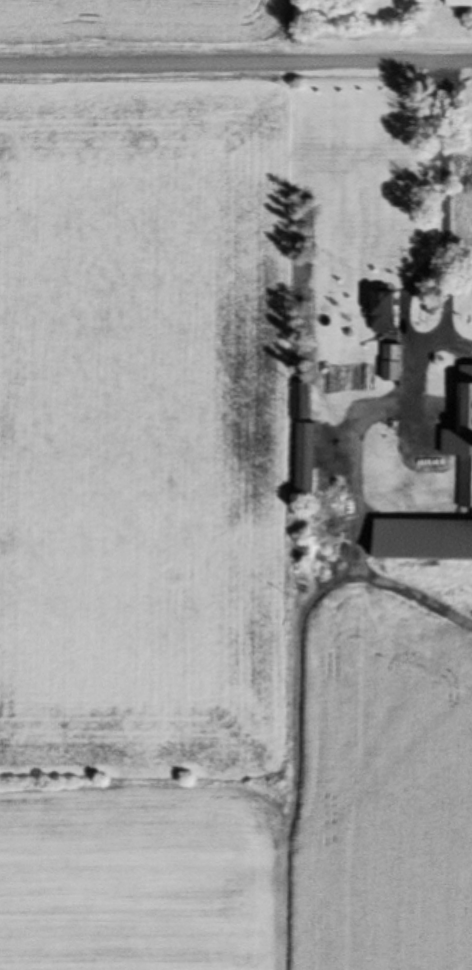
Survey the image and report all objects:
building: (461, 2)
road: (235, 64)
building: (393, 310)
building: (398, 361)
building: (303, 399)
building: (464, 444)
building: (311, 457)
building: (427, 538)

